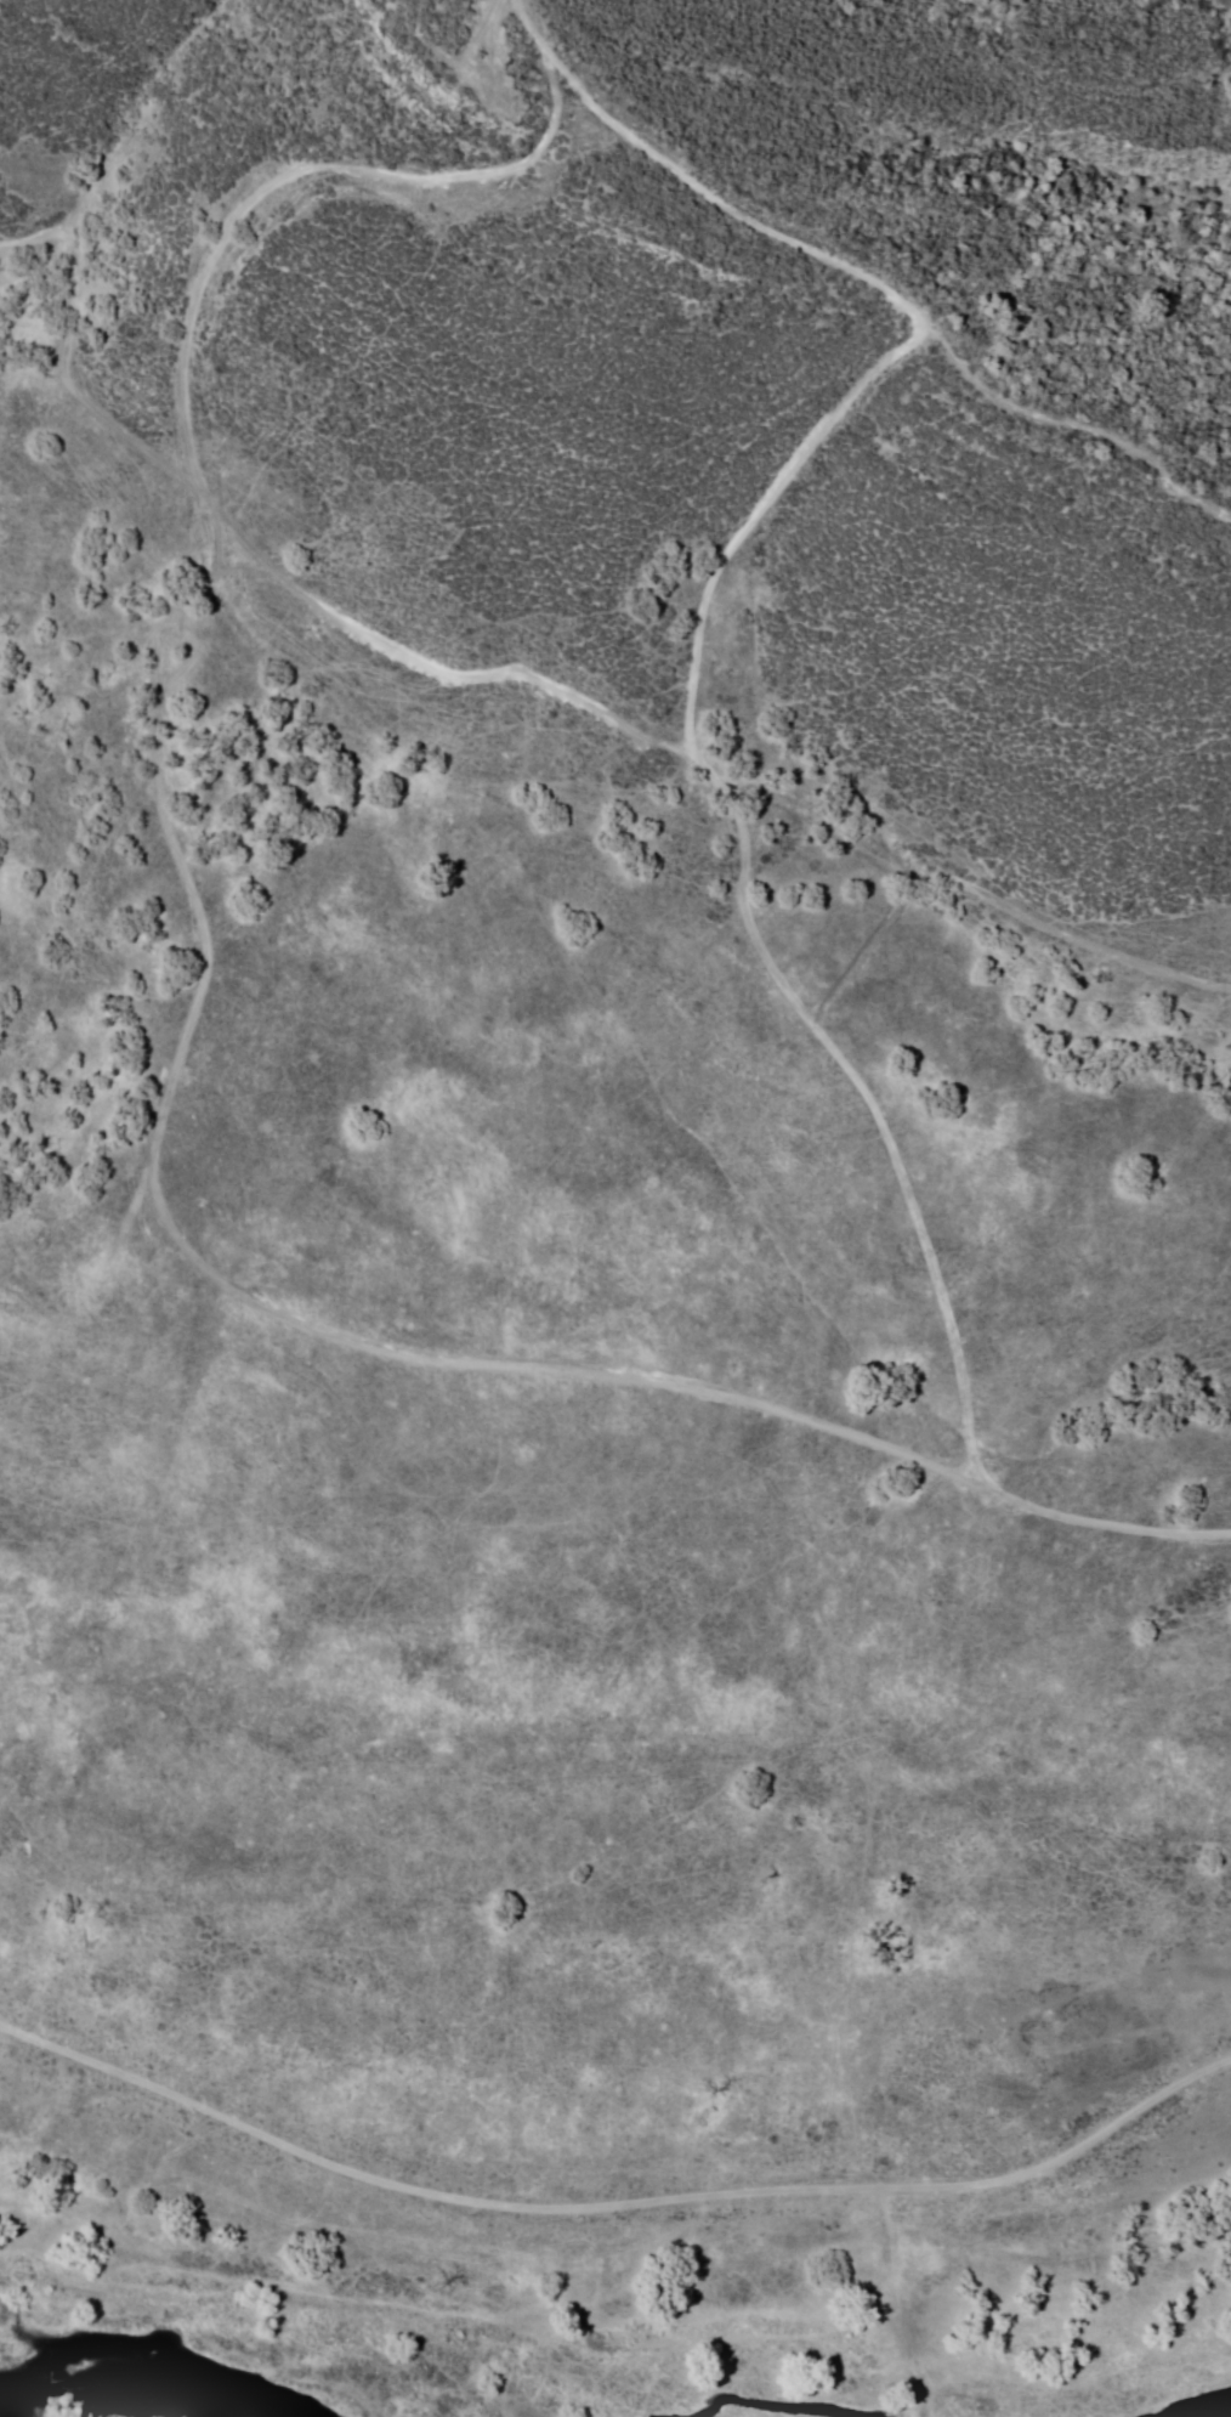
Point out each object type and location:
road: (708, 764)
road: (614, 2213)
river: (19, 2385)
river: (95, 2401)

